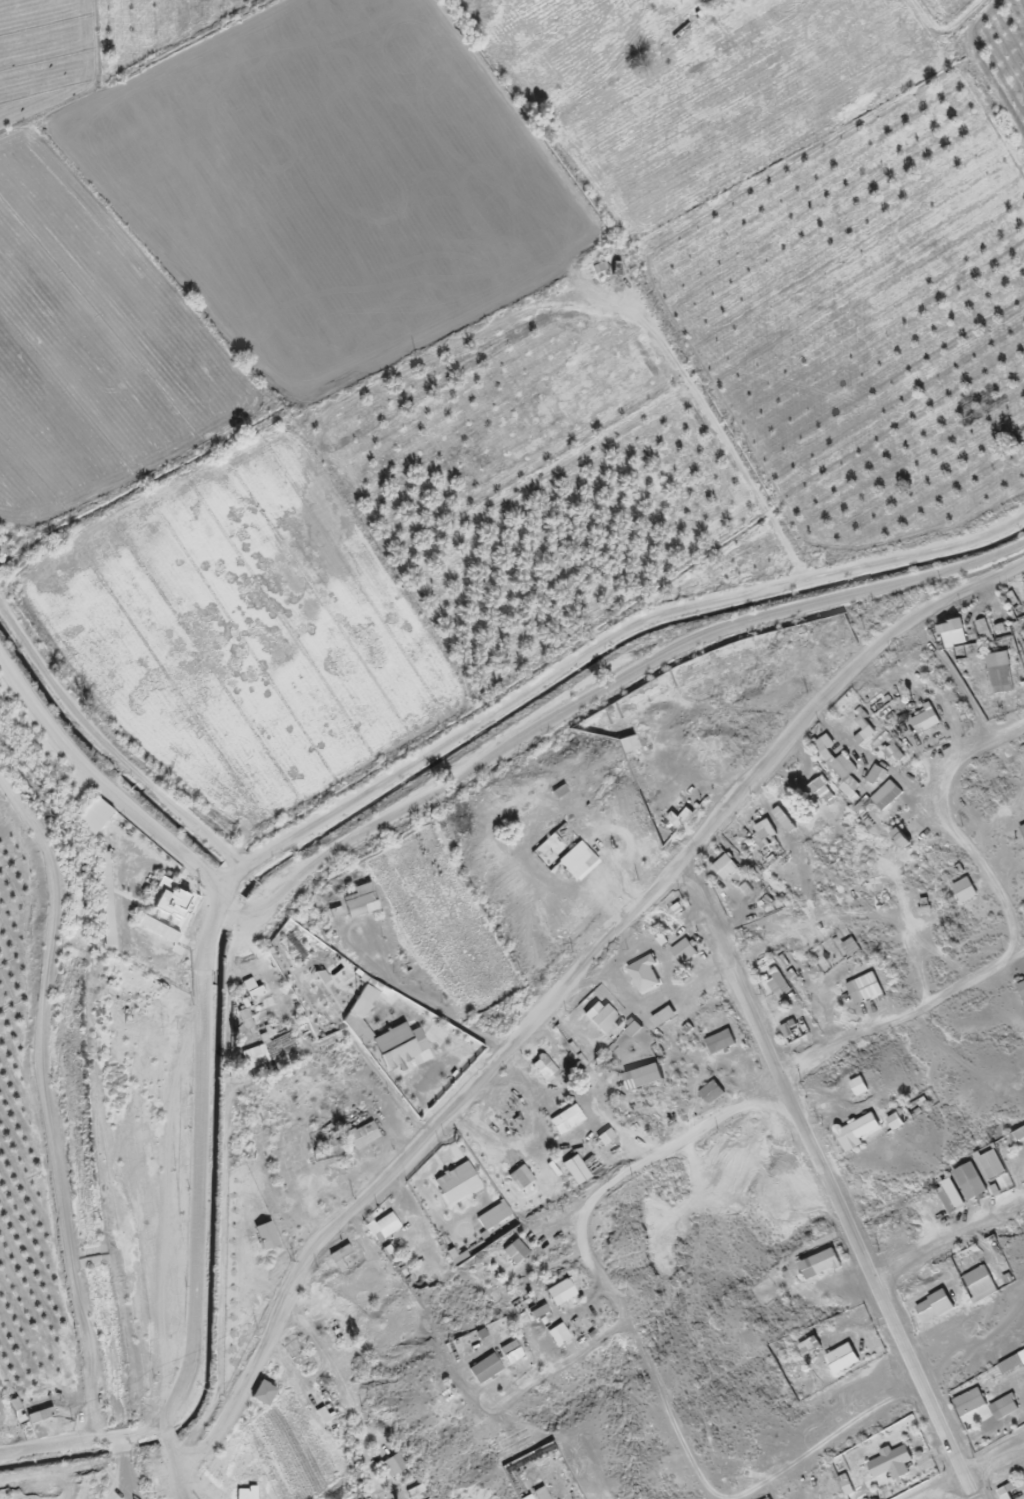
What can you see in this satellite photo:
road: (596, 647)
road: (949, 679)
road: (600, 690)
road: (979, 745)
road: (108, 749)
road: (100, 784)
road: (982, 869)
road: (559, 991)
road: (902, 1018)
road: (45, 1103)
road: (948, 1238)
road: (994, 1469)

